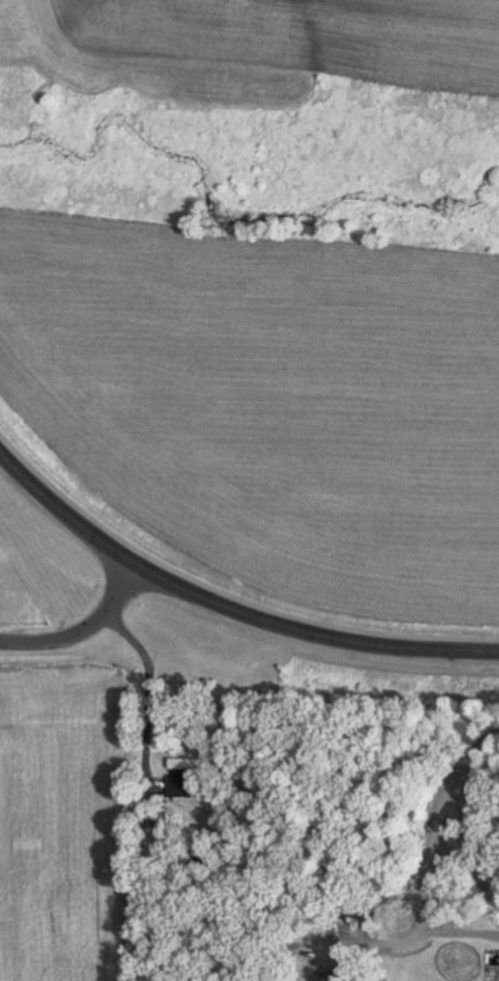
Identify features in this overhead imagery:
road: (226, 604)
road: (84, 626)
road: (147, 686)
building: (188, 775)
building: (326, 978)

